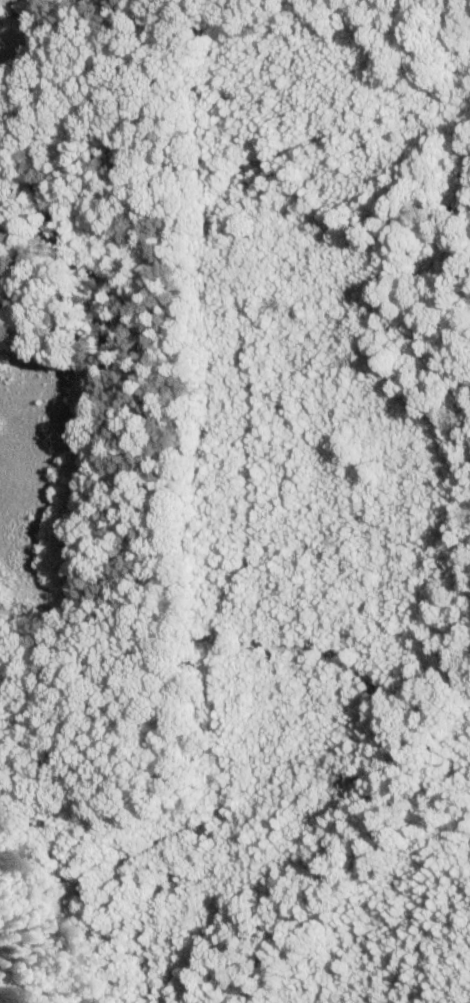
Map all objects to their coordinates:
park: (235, 501)

